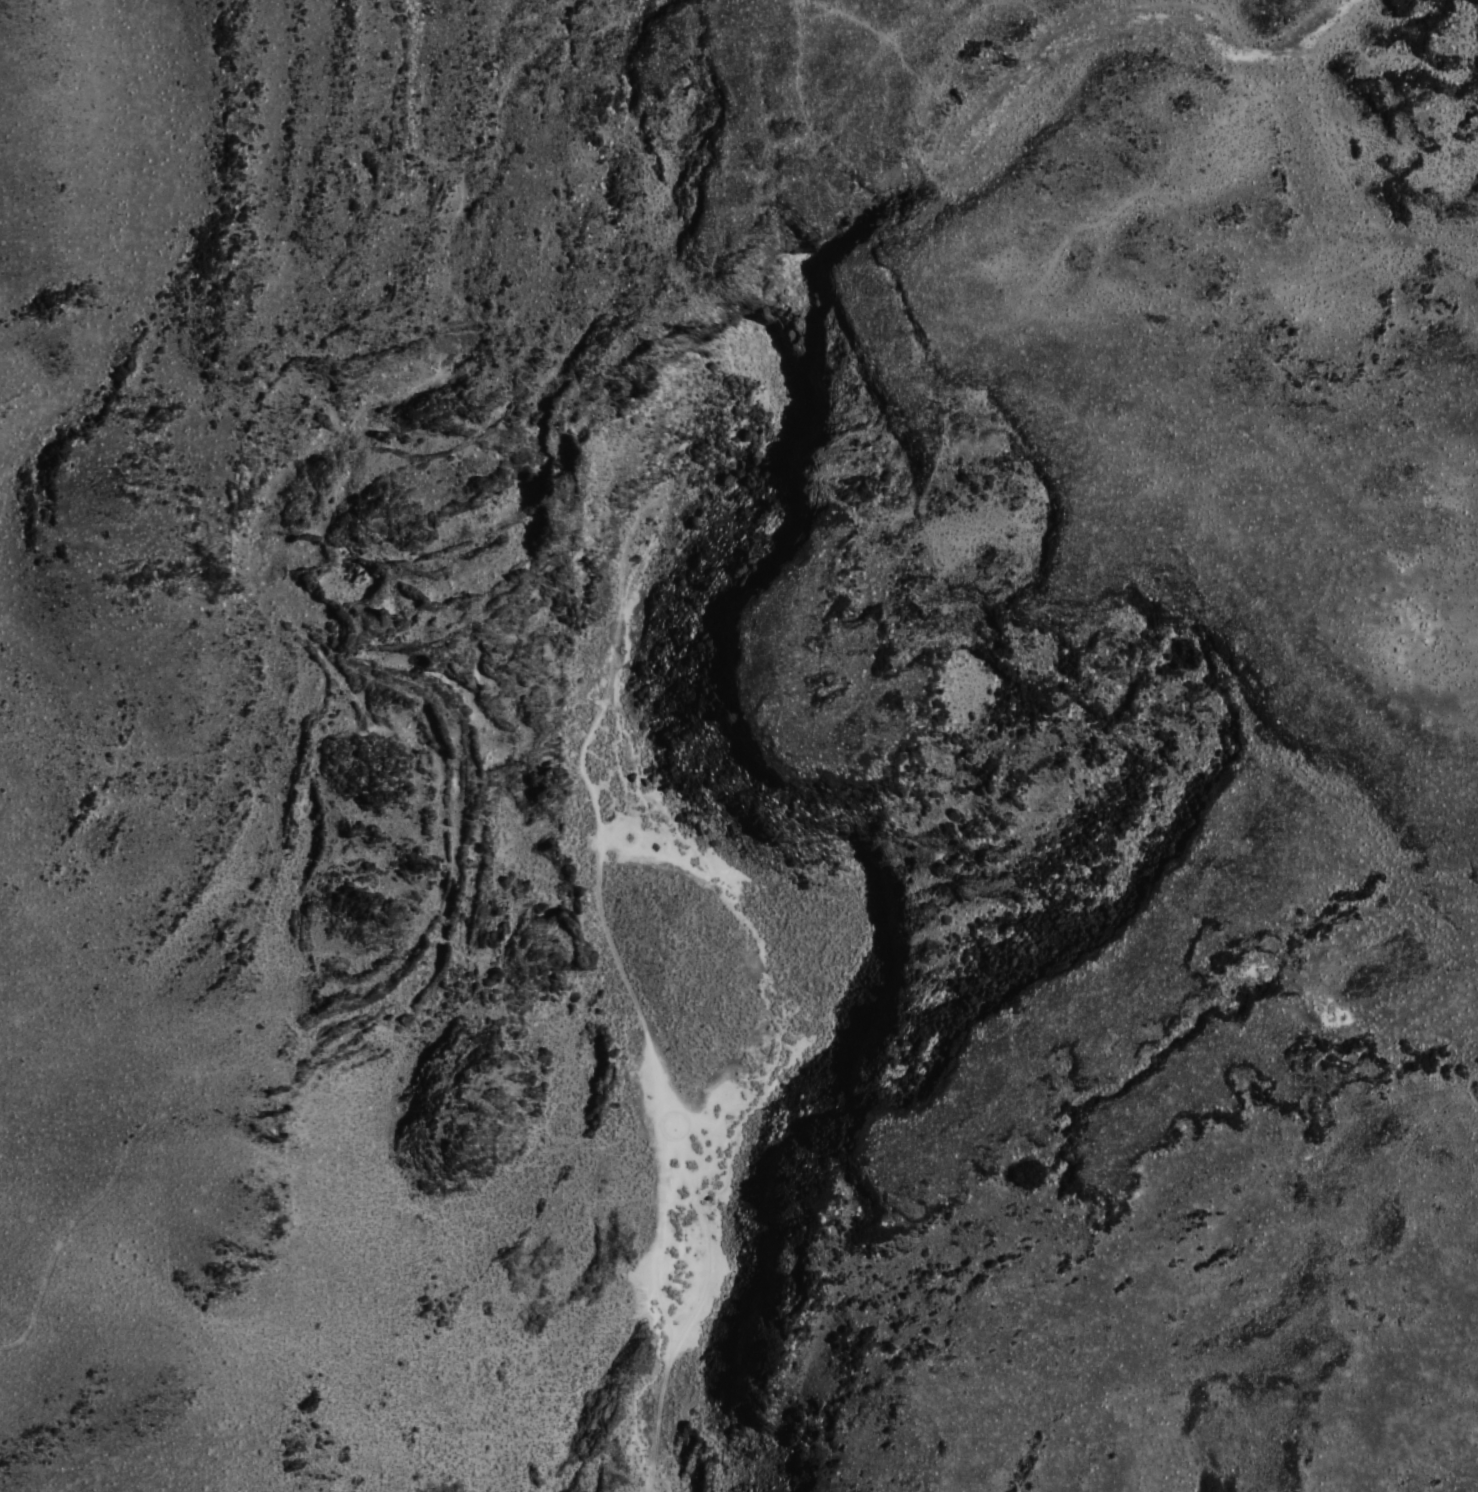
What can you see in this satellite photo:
road: (1324, 112)
road: (956, 142)
road: (802, 188)
road: (924, 203)

